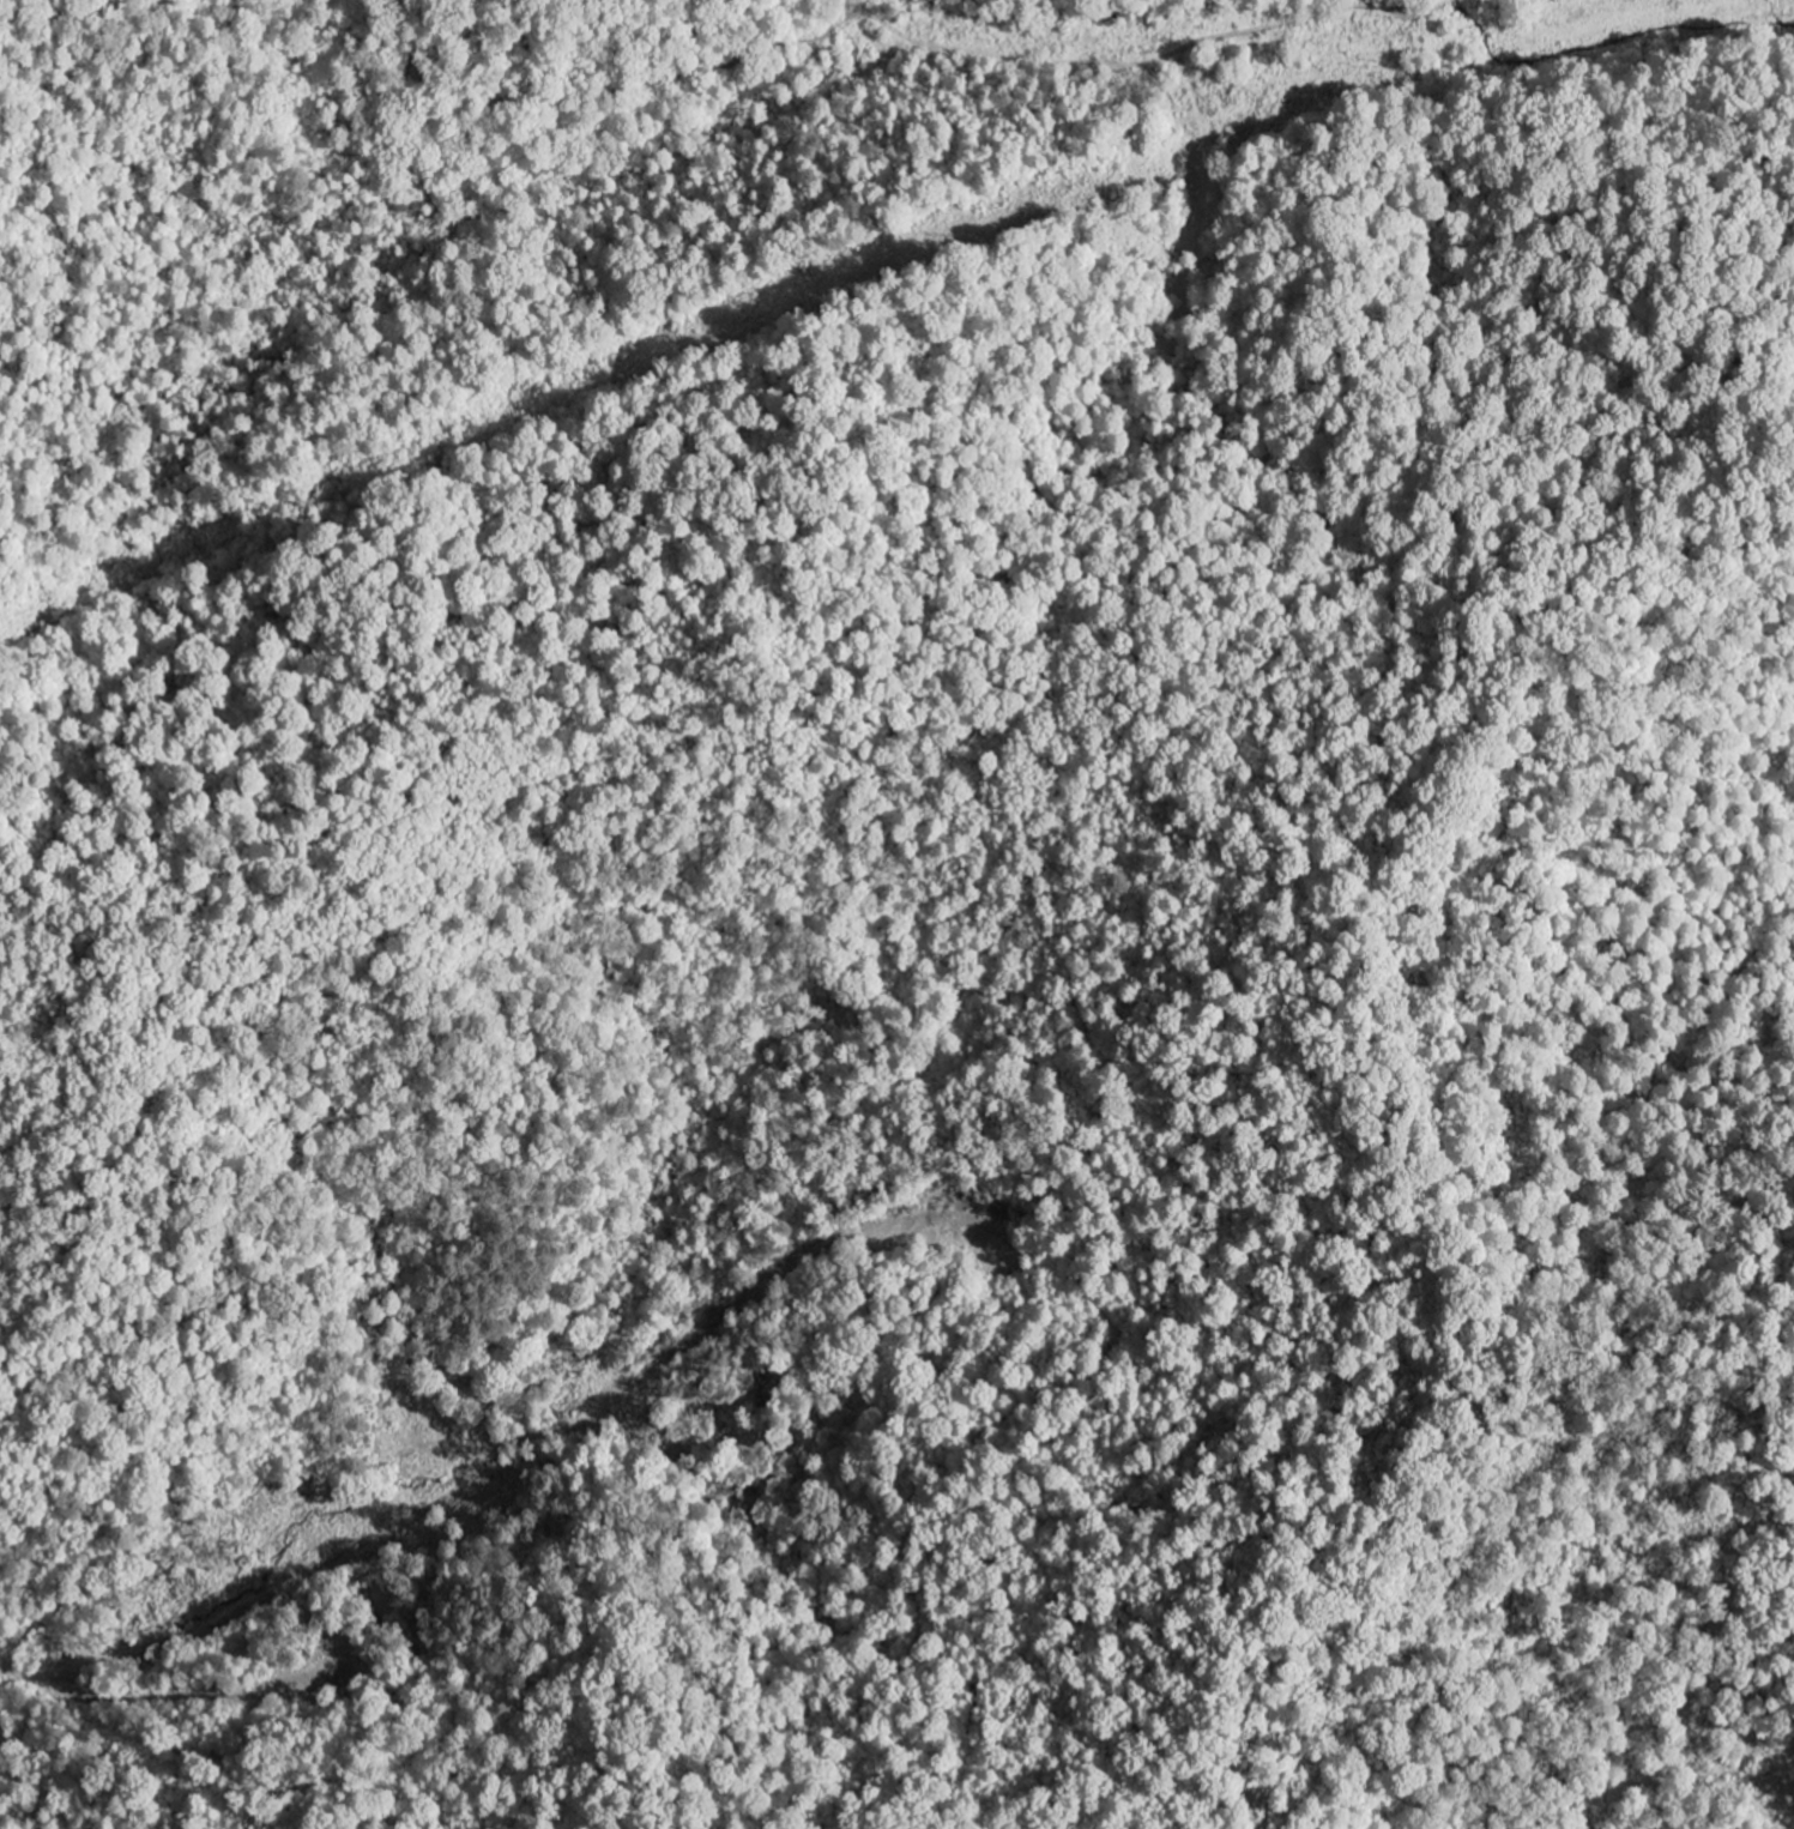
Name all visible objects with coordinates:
road: (1271, 76)
road: (110, 1262)

